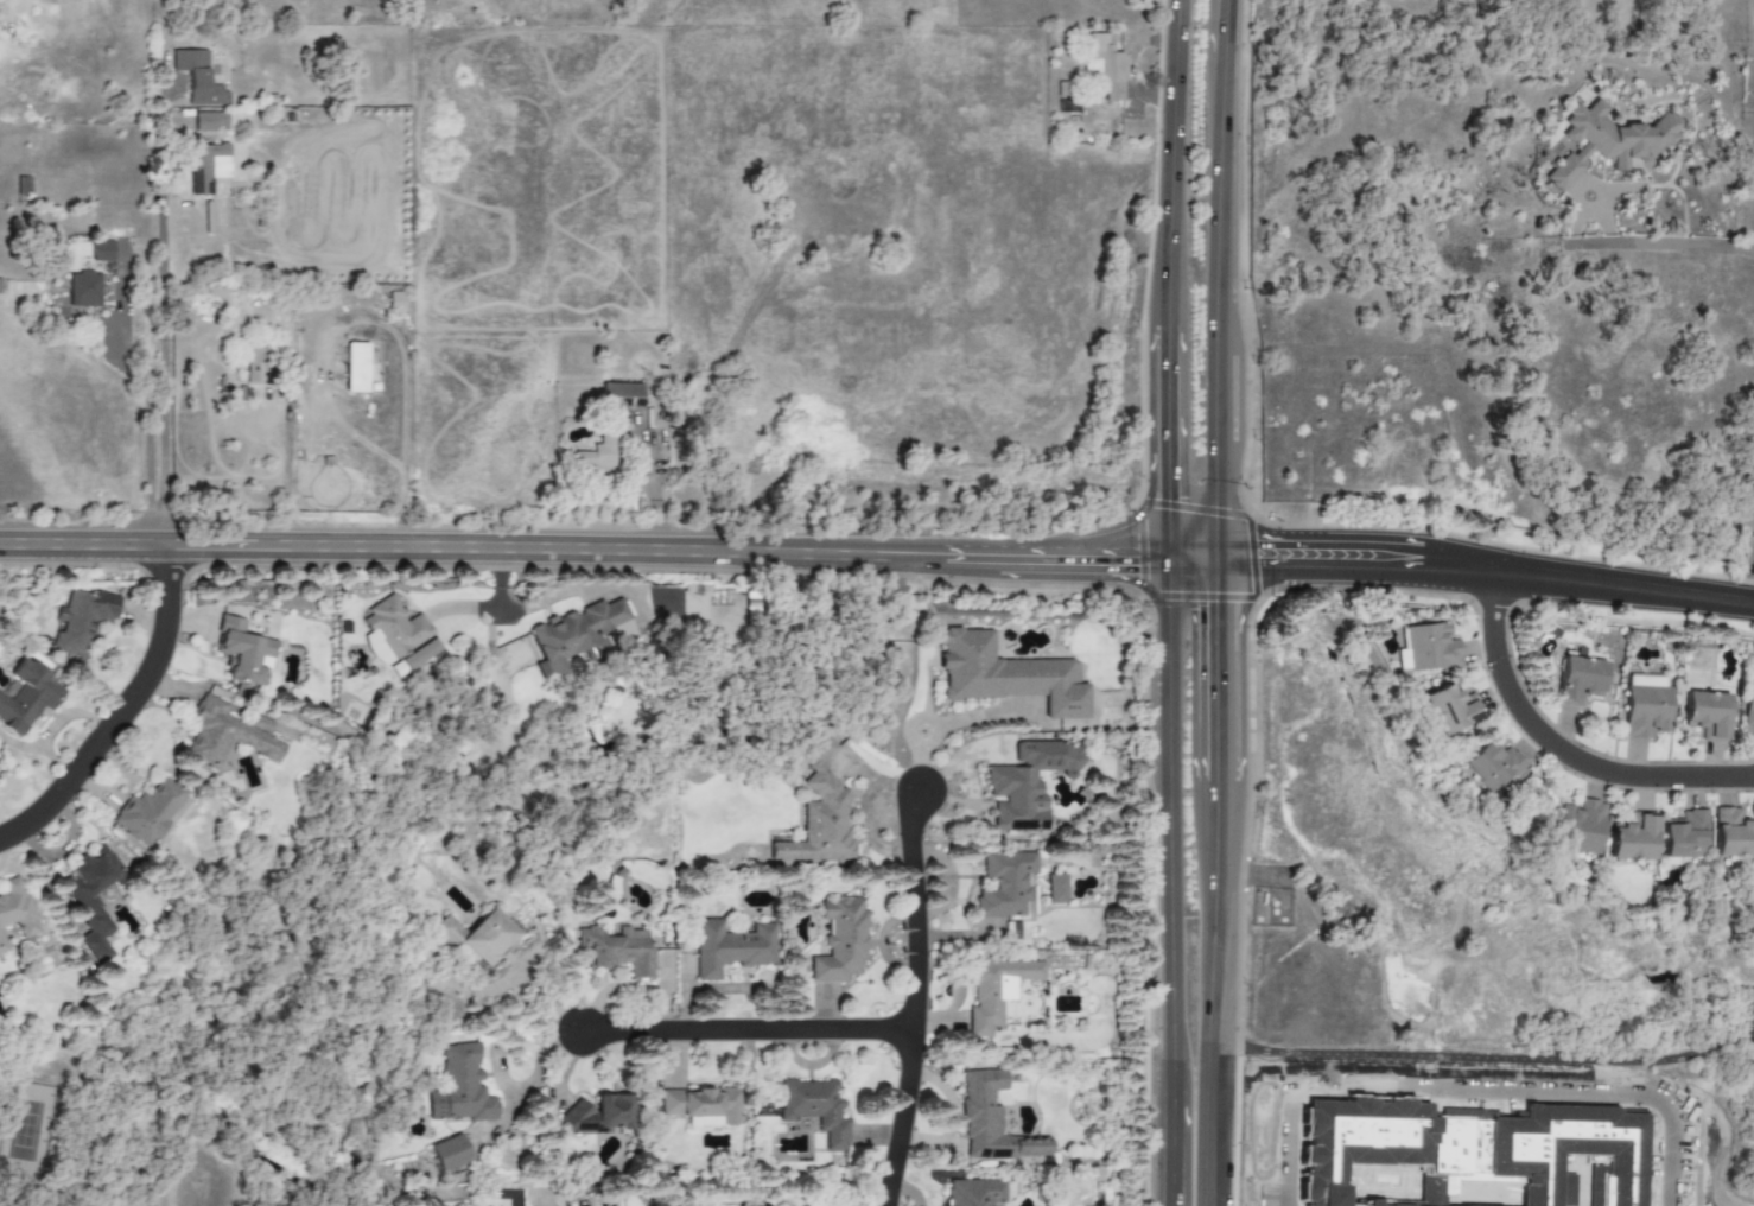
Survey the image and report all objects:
road: (1220, 30)
building: (1105, 66)
building: (197, 77)
road: (1151, 99)
building: (208, 120)
building: (1607, 142)
building: (206, 166)
road: (1171, 166)
road: (1584, 189)
road: (1628, 191)
road: (1688, 203)
road: (1609, 230)
road: (1578, 231)
road: (1658, 248)
building: (102, 250)
road: (1222, 279)
building: (82, 288)
road: (163, 322)
building: (258, 366)
building: (355, 367)
building: (621, 396)
road: (150, 421)
road: (1167, 445)
building: (596, 455)
road: (287, 472)
road: (657, 480)
traffic signals: (1168, 496)
road: (584, 550)
traffic signals: (1130, 557)
road: (1191, 558)
traffic signals: (1263, 559)
road: (1485, 570)
road: (501, 578)
road: (1749, 592)
road: (534, 605)
traffic signals: (1215, 612)
building: (81, 620)
building: (392, 630)
building: (574, 631)
building: (1426, 649)
building: (241, 650)
building: (420, 654)
building: (1006, 674)
road: (1215, 679)
building: (1578, 679)
building: (1748, 692)
building: (27, 696)
building: (1645, 704)
building: (1449, 709)
road: (126, 710)
building: (1705, 713)
building: (228, 734)
road: (1561, 750)
building: (1491, 766)
building: (1028, 783)
building: (148, 811)
building: (819, 812)
road: (1169, 825)
building: (1580, 826)
building: (1731, 833)
building: (1632, 837)
building: (1683, 837)
road: (1260, 876)
building: (1005, 883)
building: (1055, 888)
building: (90, 900)
building: (17, 907)
building: (476, 937)
building: (840, 940)
building: (2, 944)
building: (730, 947)
building: (618, 950)
building: (994, 990)
road: (913, 1001)
road: (1208, 1002)
road: (750, 1028)
road: (1750, 1034)
road: (1482, 1058)
building: (459, 1087)
road: (1477, 1094)
building: (703, 1106)
building: (814, 1109)
building: (599, 1116)
building: (992, 1122)
road: (1172, 1148)
building: (449, 1153)
building: (972, 1192)
building: (507, 1195)

